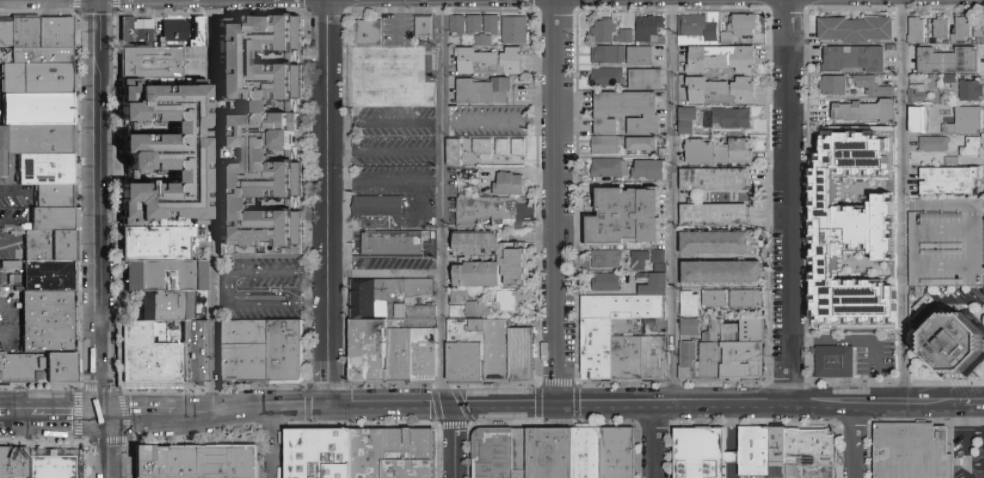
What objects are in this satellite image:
building: (475, 24)
building: (493, 24)
building: (745, 24)
building: (459, 25)
road: (100, 26)
building: (426, 27)
building: (939, 27)
building: (978, 29)
building: (195, 30)
building: (516, 30)
building: (700, 30)
building: (915, 30)
building: (961, 30)
building: (606, 31)
building: (55, 32)
building: (369, 32)
building: (652, 32)
building: (853, 32)
building: (5, 33)
building: (25, 33)
building: (138, 36)
building: (178, 36)
building: (627, 37)
building: (729, 39)
building: (484, 40)
building: (610, 55)
building: (643, 56)
building: (43, 57)
building: (947, 60)
building: (852, 61)
building: (493, 62)
building: (154, 67)
building: (750, 75)
building: (391, 77)
building: (609, 78)
building: (648, 79)
building: (38, 83)
building: (874, 87)
building: (831, 88)
building: (970, 90)
building: (486, 91)
building: (915, 92)
building: (629, 113)
building: (38, 114)
building: (863, 114)
building: (730, 118)
building: (916, 119)
building: (690, 120)
building: (962, 120)
road: (381, 122)
road: (497, 122)
building: (264, 135)
building: (933, 143)
building: (43, 144)
building: (646, 144)
building: (608, 145)
building: (970, 146)
building: (484, 147)
building: (504, 148)
building: (520, 148)
road: (382, 151)
building: (456, 152)
building: (722, 152)
building: (664, 153)
building: (3, 158)
building: (169, 158)
building: (611, 169)
building: (652, 170)
building: (46, 174)
road: (323, 175)
building: (947, 179)
building: (715, 180)
road: (382, 182)
building: (511, 185)
road: (673, 197)
road: (787, 197)
road: (906, 197)
road: (100, 198)
building: (54, 201)
road: (554, 202)
road: (441, 204)
road: (212, 206)
building: (495, 210)
building: (380, 212)
building: (716, 215)
building: (628, 216)
building: (53, 224)
road: (941, 228)
building: (848, 234)
road: (975, 234)
building: (395, 243)
building: (721, 243)
building: (948, 243)
building: (50, 248)
building: (649, 248)
building: (159, 250)
building: (660, 257)
building: (515, 259)
building: (608, 259)
building: (640, 260)
building: (12, 266)
building: (662, 269)
road: (262, 272)
building: (724, 273)
road: (382, 274)
building: (48, 275)
building: (608, 283)
building: (167, 284)
building: (655, 284)
parking lot: (262, 289)
road: (259, 294)
building: (460, 297)
building: (716, 300)
building: (749, 300)
building: (512, 301)
road: (940, 302)
building: (691, 305)
road: (269, 306)
building: (479, 310)
building: (458, 312)
building: (163, 314)
building: (46, 320)
building: (650, 323)
building: (691, 328)
building: (393, 332)
building: (623, 340)
building: (948, 349)
building: (490, 351)
building: (728, 354)
building: (196, 357)
building: (246, 357)
building: (288, 358)
building: (154, 359)
building: (837, 365)
building: (37, 367)
road: (327, 373)
road: (101, 379)
road: (753, 394)
traffic signals: (327, 397)
road: (339, 397)
road: (951, 405)
road: (508, 406)
traffic signals: (556, 406)
road: (973, 406)
road: (446, 407)
traffic signals: (450, 407)
road: (3, 410)
road: (792, 412)
road: (898, 412)
road: (18, 413)
road: (207, 413)
road: (256, 413)
road: (693, 413)
road: (65, 414)
traffic signals: (101, 414)
road: (139, 414)
road: (301, 414)
traffic signals: (327, 414)
road: (610, 414)
road: (3, 415)
road: (385, 415)
road: (976, 433)
road: (969, 441)
road: (454, 442)
road: (109, 445)
road: (731, 445)
road: (855, 445)
road: (277, 446)
road: (656, 446)
building: (811, 447)
building: (754, 449)
building: (698, 450)
building: (912, 450)
building: (778, 452)
parking lot: (969, 452)
building: (549, 453)
building: (359, 455)
building: (4, 462)
building: (17, 462)
building: (53, 463)
building: (229, 465)
road: (976, 465)
building: (170, 466)

